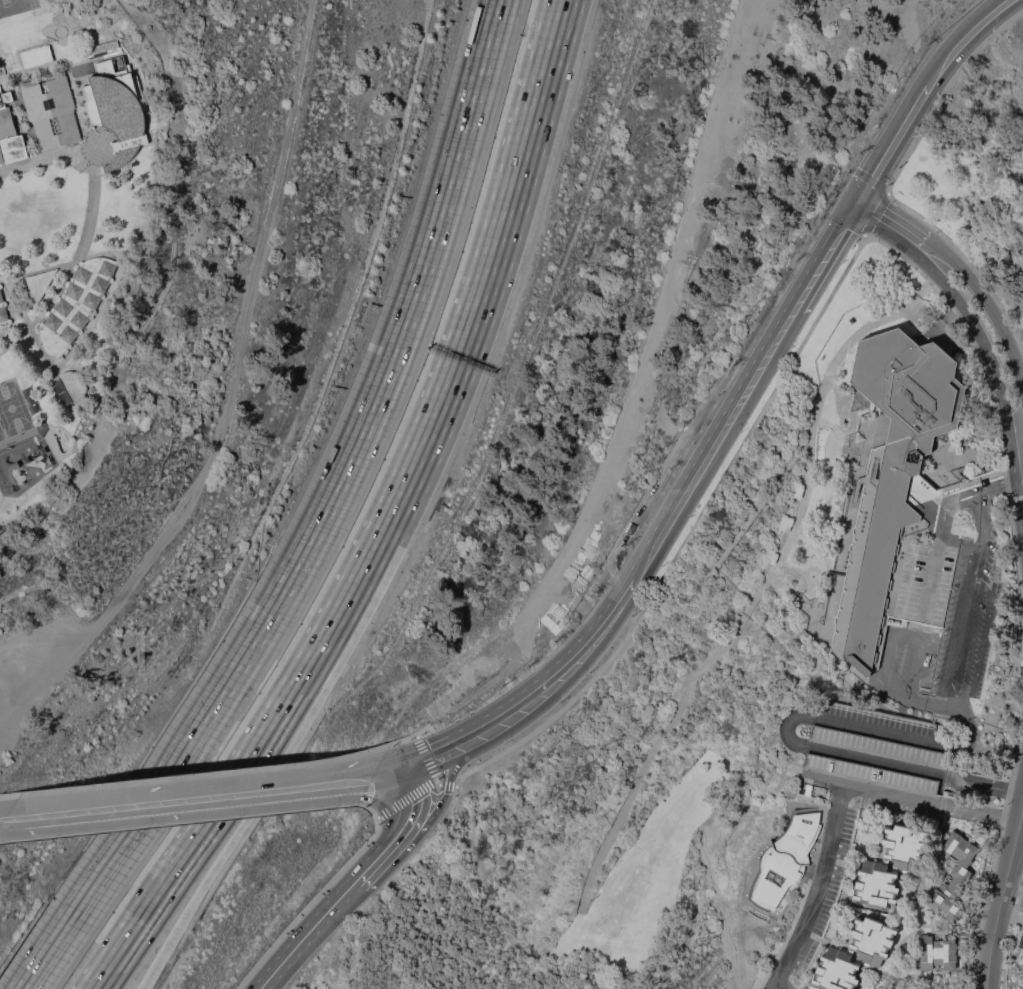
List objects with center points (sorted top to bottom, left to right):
building: (35, 55)
building: (120, 61)
building: (0, 87)
road: (921, 93)
building: (117, 109)
building: (51, 110)
building: (9, 133)
road: (47, 156)
road: (871, 176)
road: (890, 181)
road: (505, 192)
traffic signals: (857, 203)
road: (876, 213)
road: (888, 223)
road: (826, 255)
building: (39, 284)
building: (0, 285)
building: (77, 304)
road: (987, 304)
building: (3, 318)
building: (75, 384)
road: (999, 386)
road: (228, 401)
road: (717, 444)
building: (899, 500)
road: (382, 518)
road: (321, 521)
road: (937, 541)
road: (897, 633)
parking lot: (946, 639)
road: (954, 640)
road: (570, 670)
road: (935, 702)
parking lot: (873, 716)
road: (786, 731)
building: (877, 746)
parking lot: (877, 746)
road: (447, 755)
traffic signals: (410, 769)
road: (391, 773)
building: (871, 774)
parking lot: (871, 774)
building: (808, 789)
traffic signals: (447, 792)
road: (186, 797)
road: (836, 805)
parking lot: (898, 808)
road: (439, 810)
road: (225, 819)
road: (203, 820)
road: (412, 824)
building: (902, 847)
building: (785, 858)
road: (367, 876)
building: (960, 878)
building: (874, 885)
parking lot: (828, 893)
road: (1002, 898)
road: (311, 936)
building: (1020, 937)
building: (871, 939)
building: (937, 951)
building: (1022, 953)
building: (1022, 958)
building: (835, 970)
parking lot: (763, 988)

